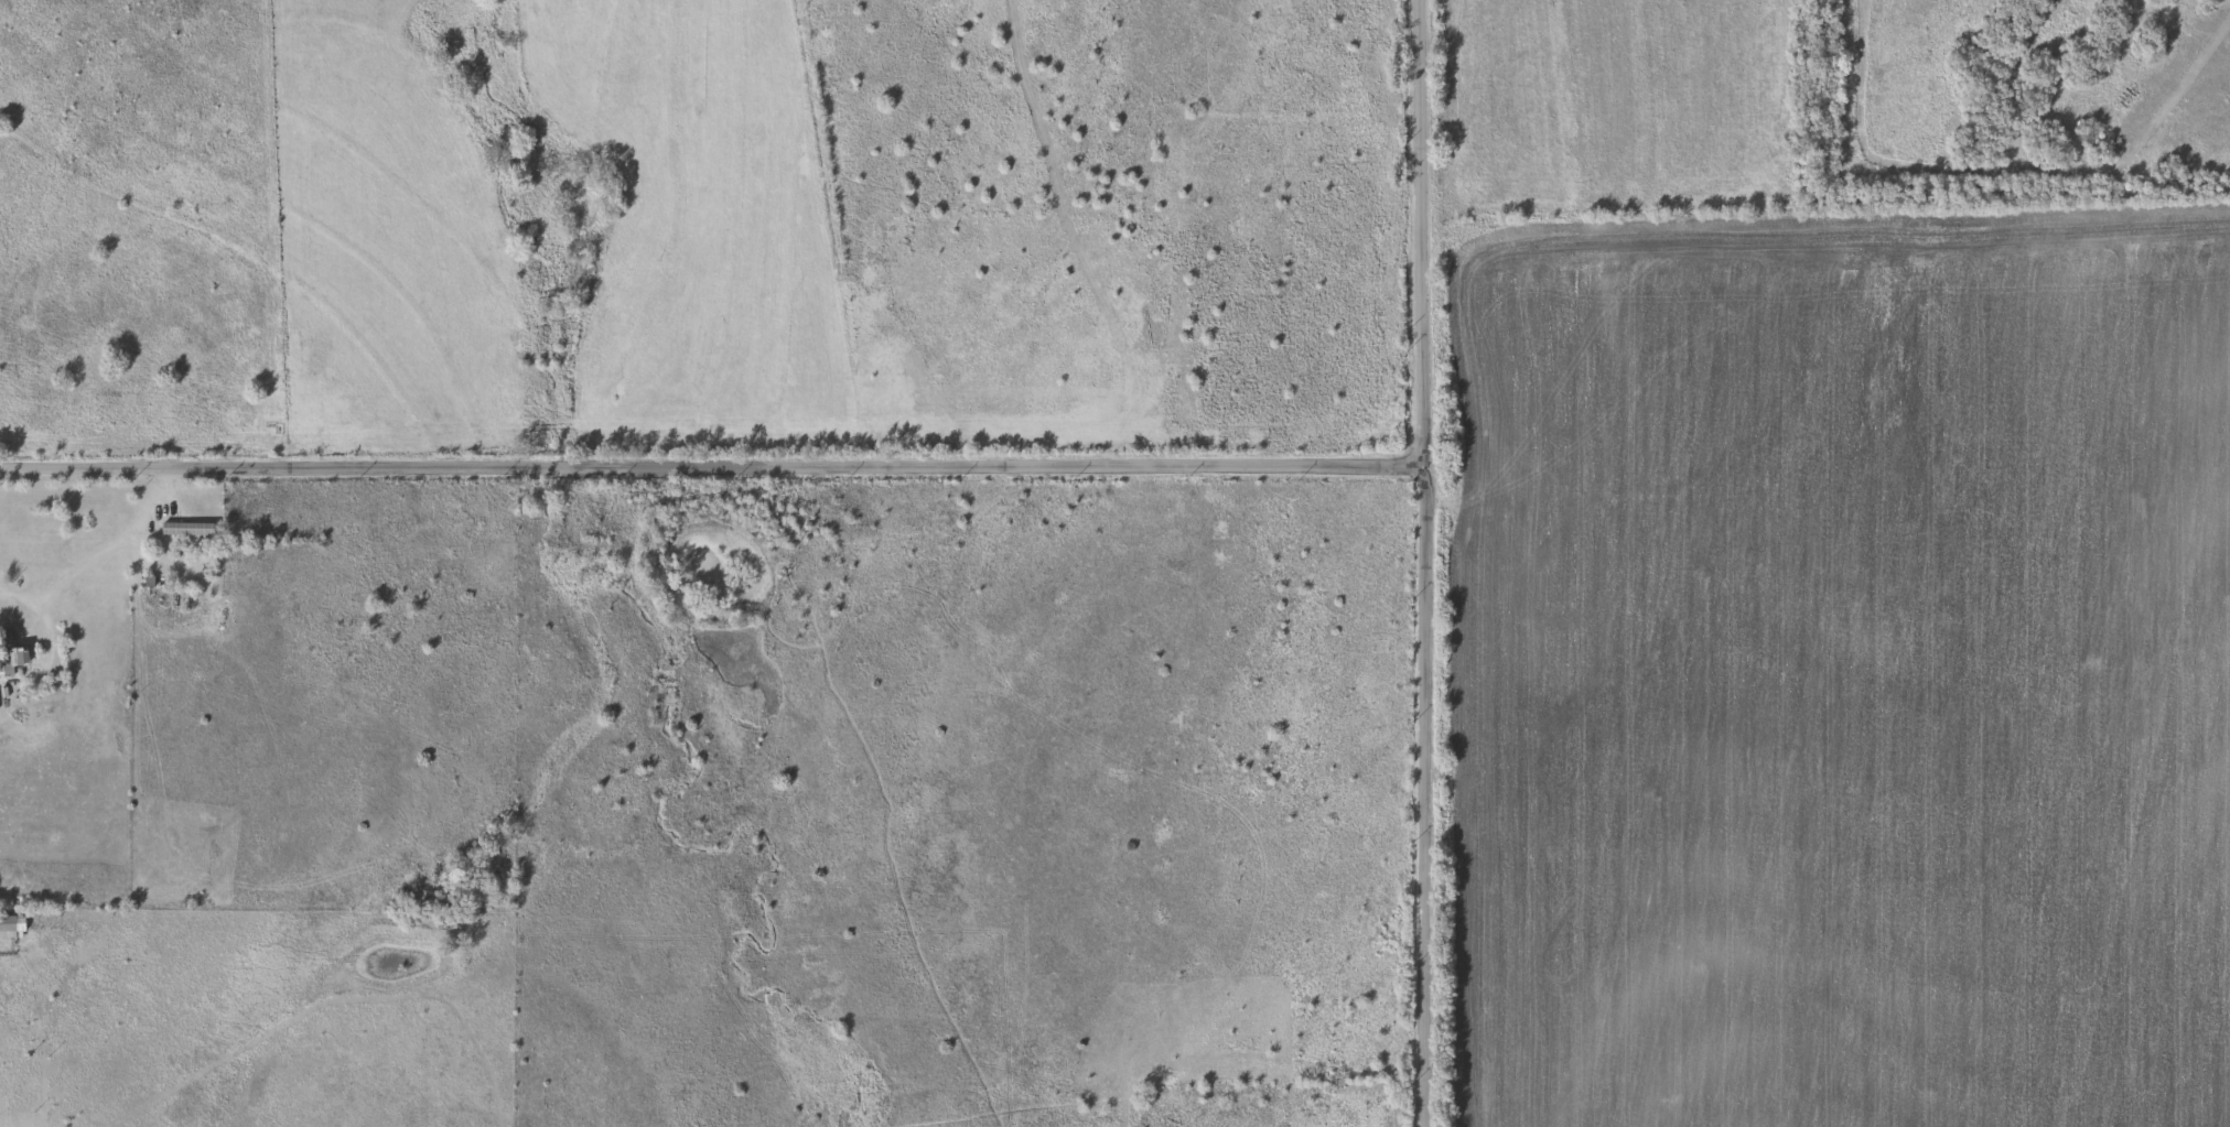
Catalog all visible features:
road: (1717, 14)
road: (939, 465)
building: (187, 525)
road: (97, 553)
building: (10, 652)
road: (1431, 778)
building: (12, 923)

